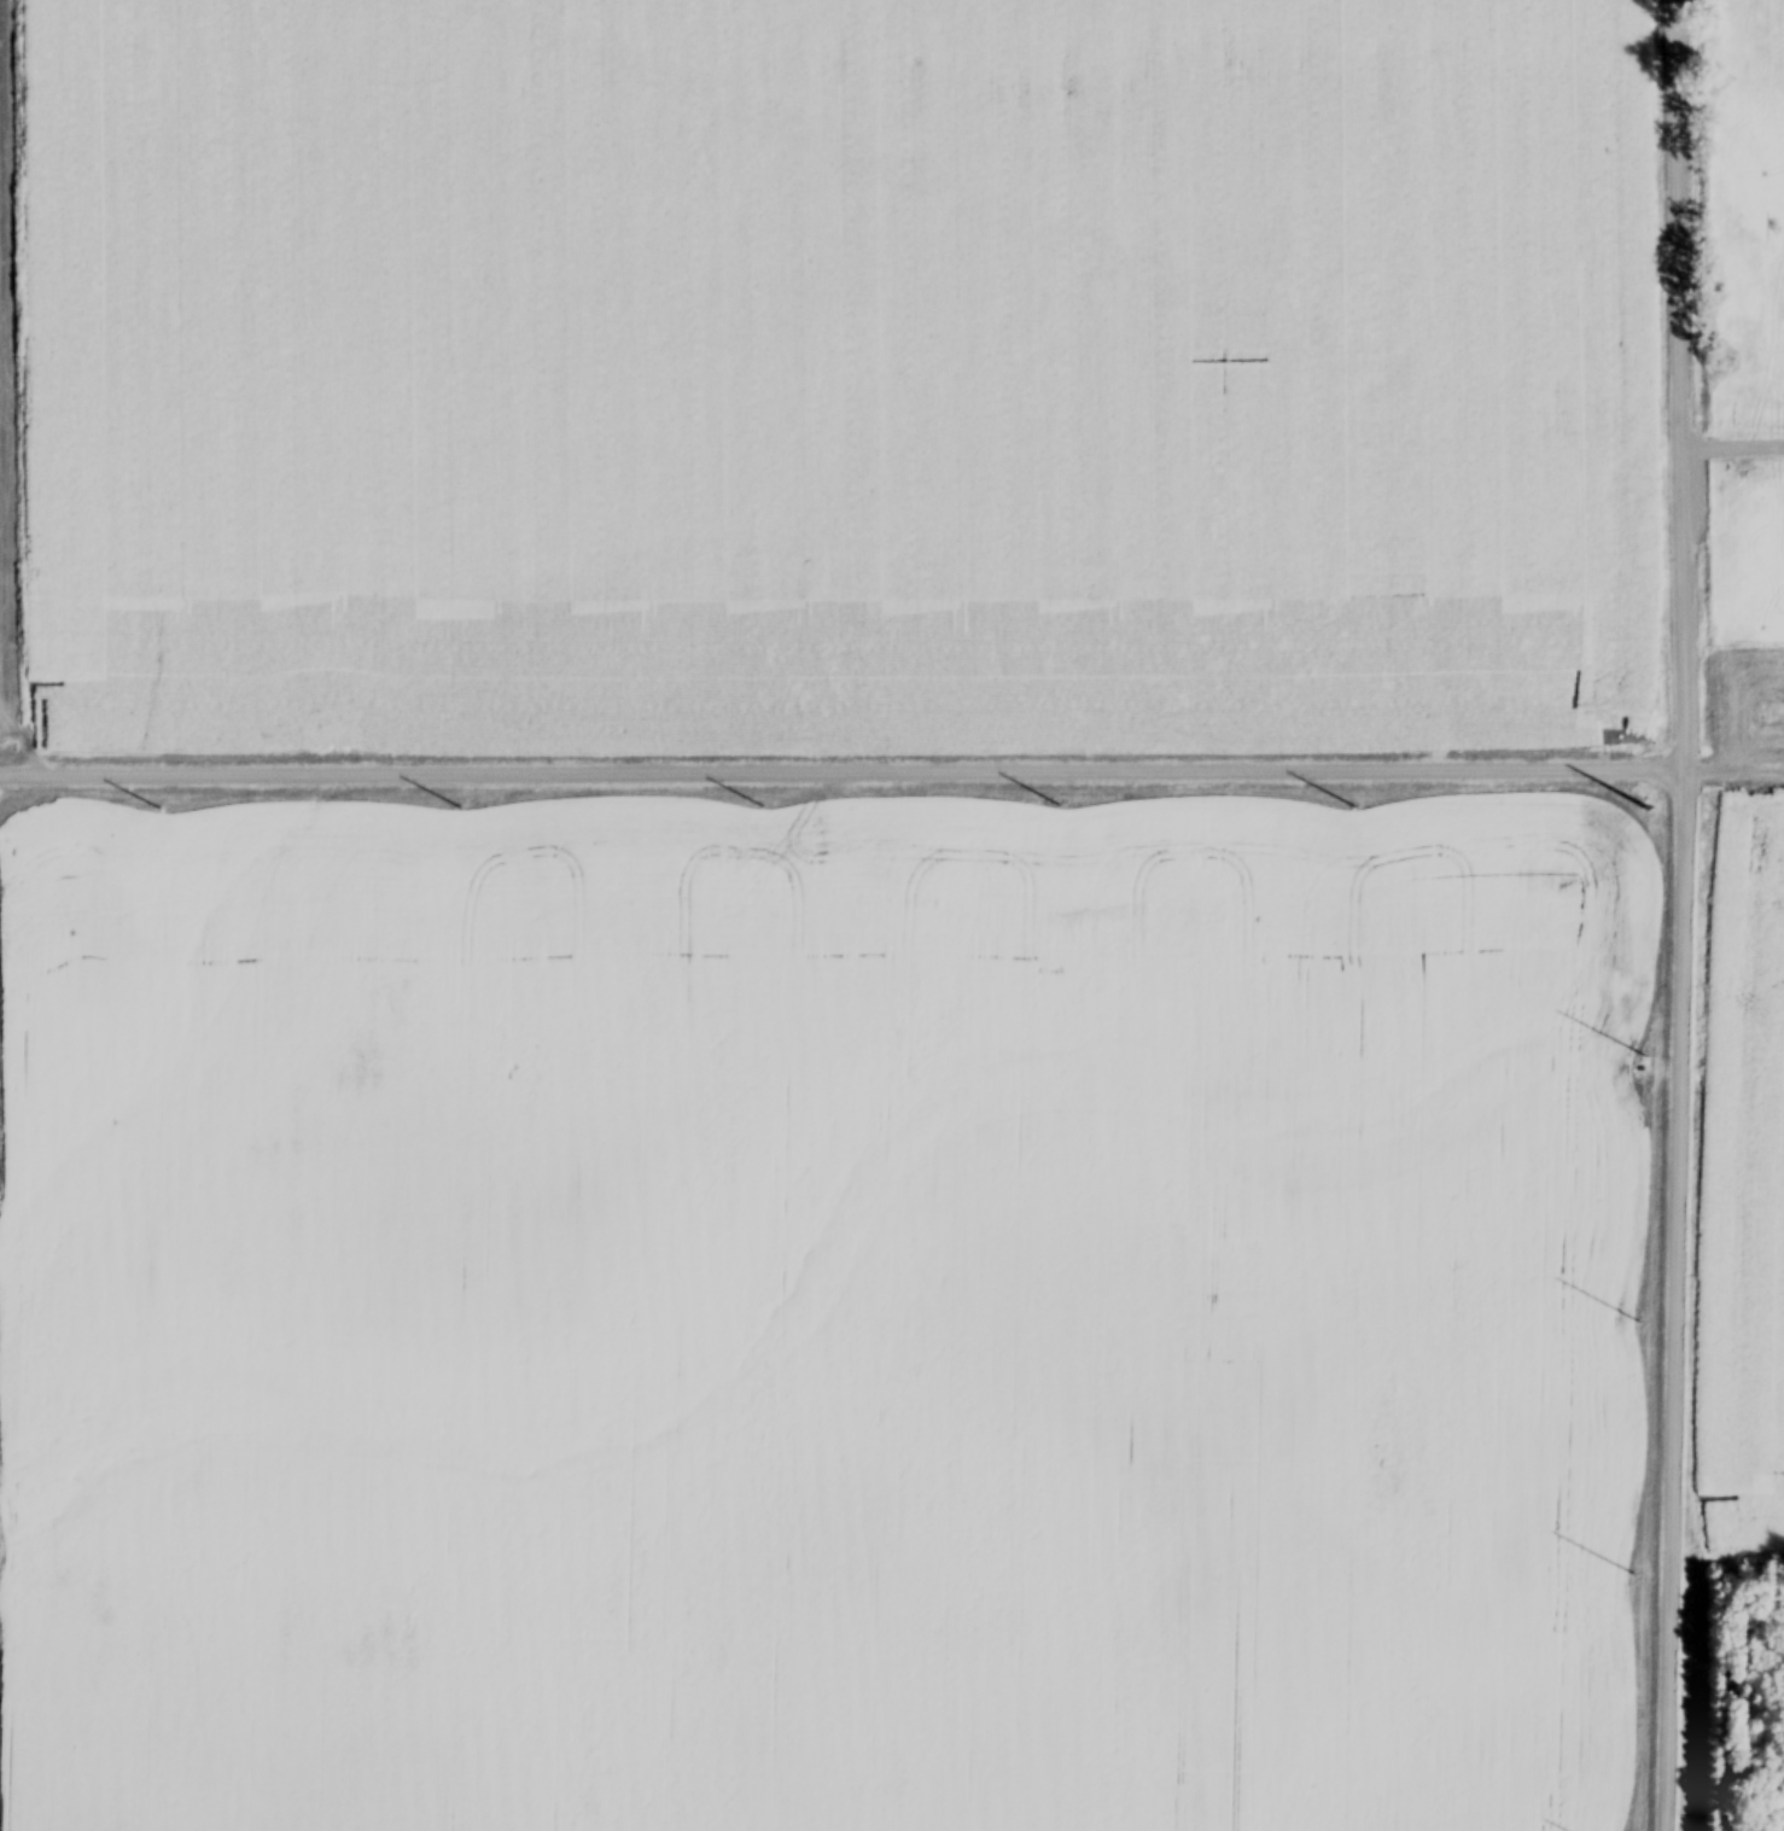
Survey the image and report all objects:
road: (843, 775)
power tower: (1645, 812)
road: (1684, 915)

